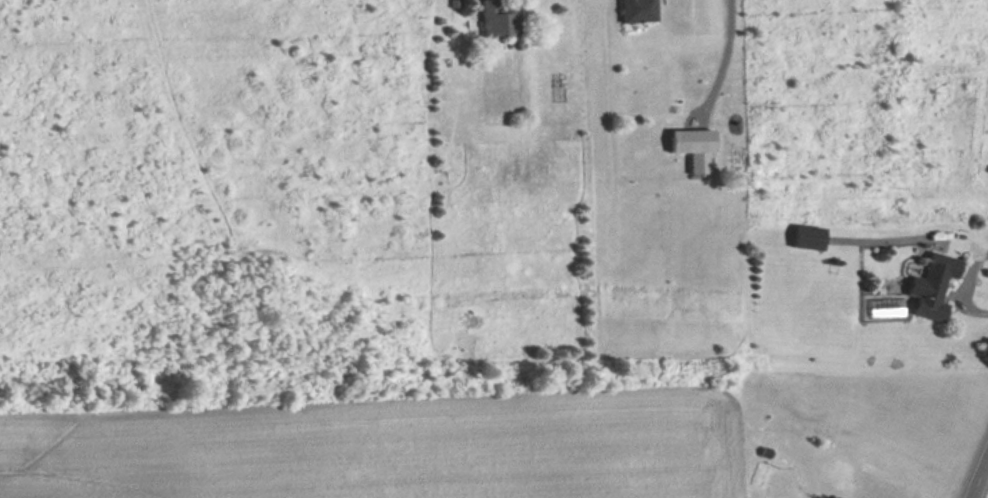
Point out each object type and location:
building: (632, 11)
building: (495, 21)
road: (717, 64)
building: (694, 164)
building: (802, 237)
building: (927, 285)
road: (975, 467)

